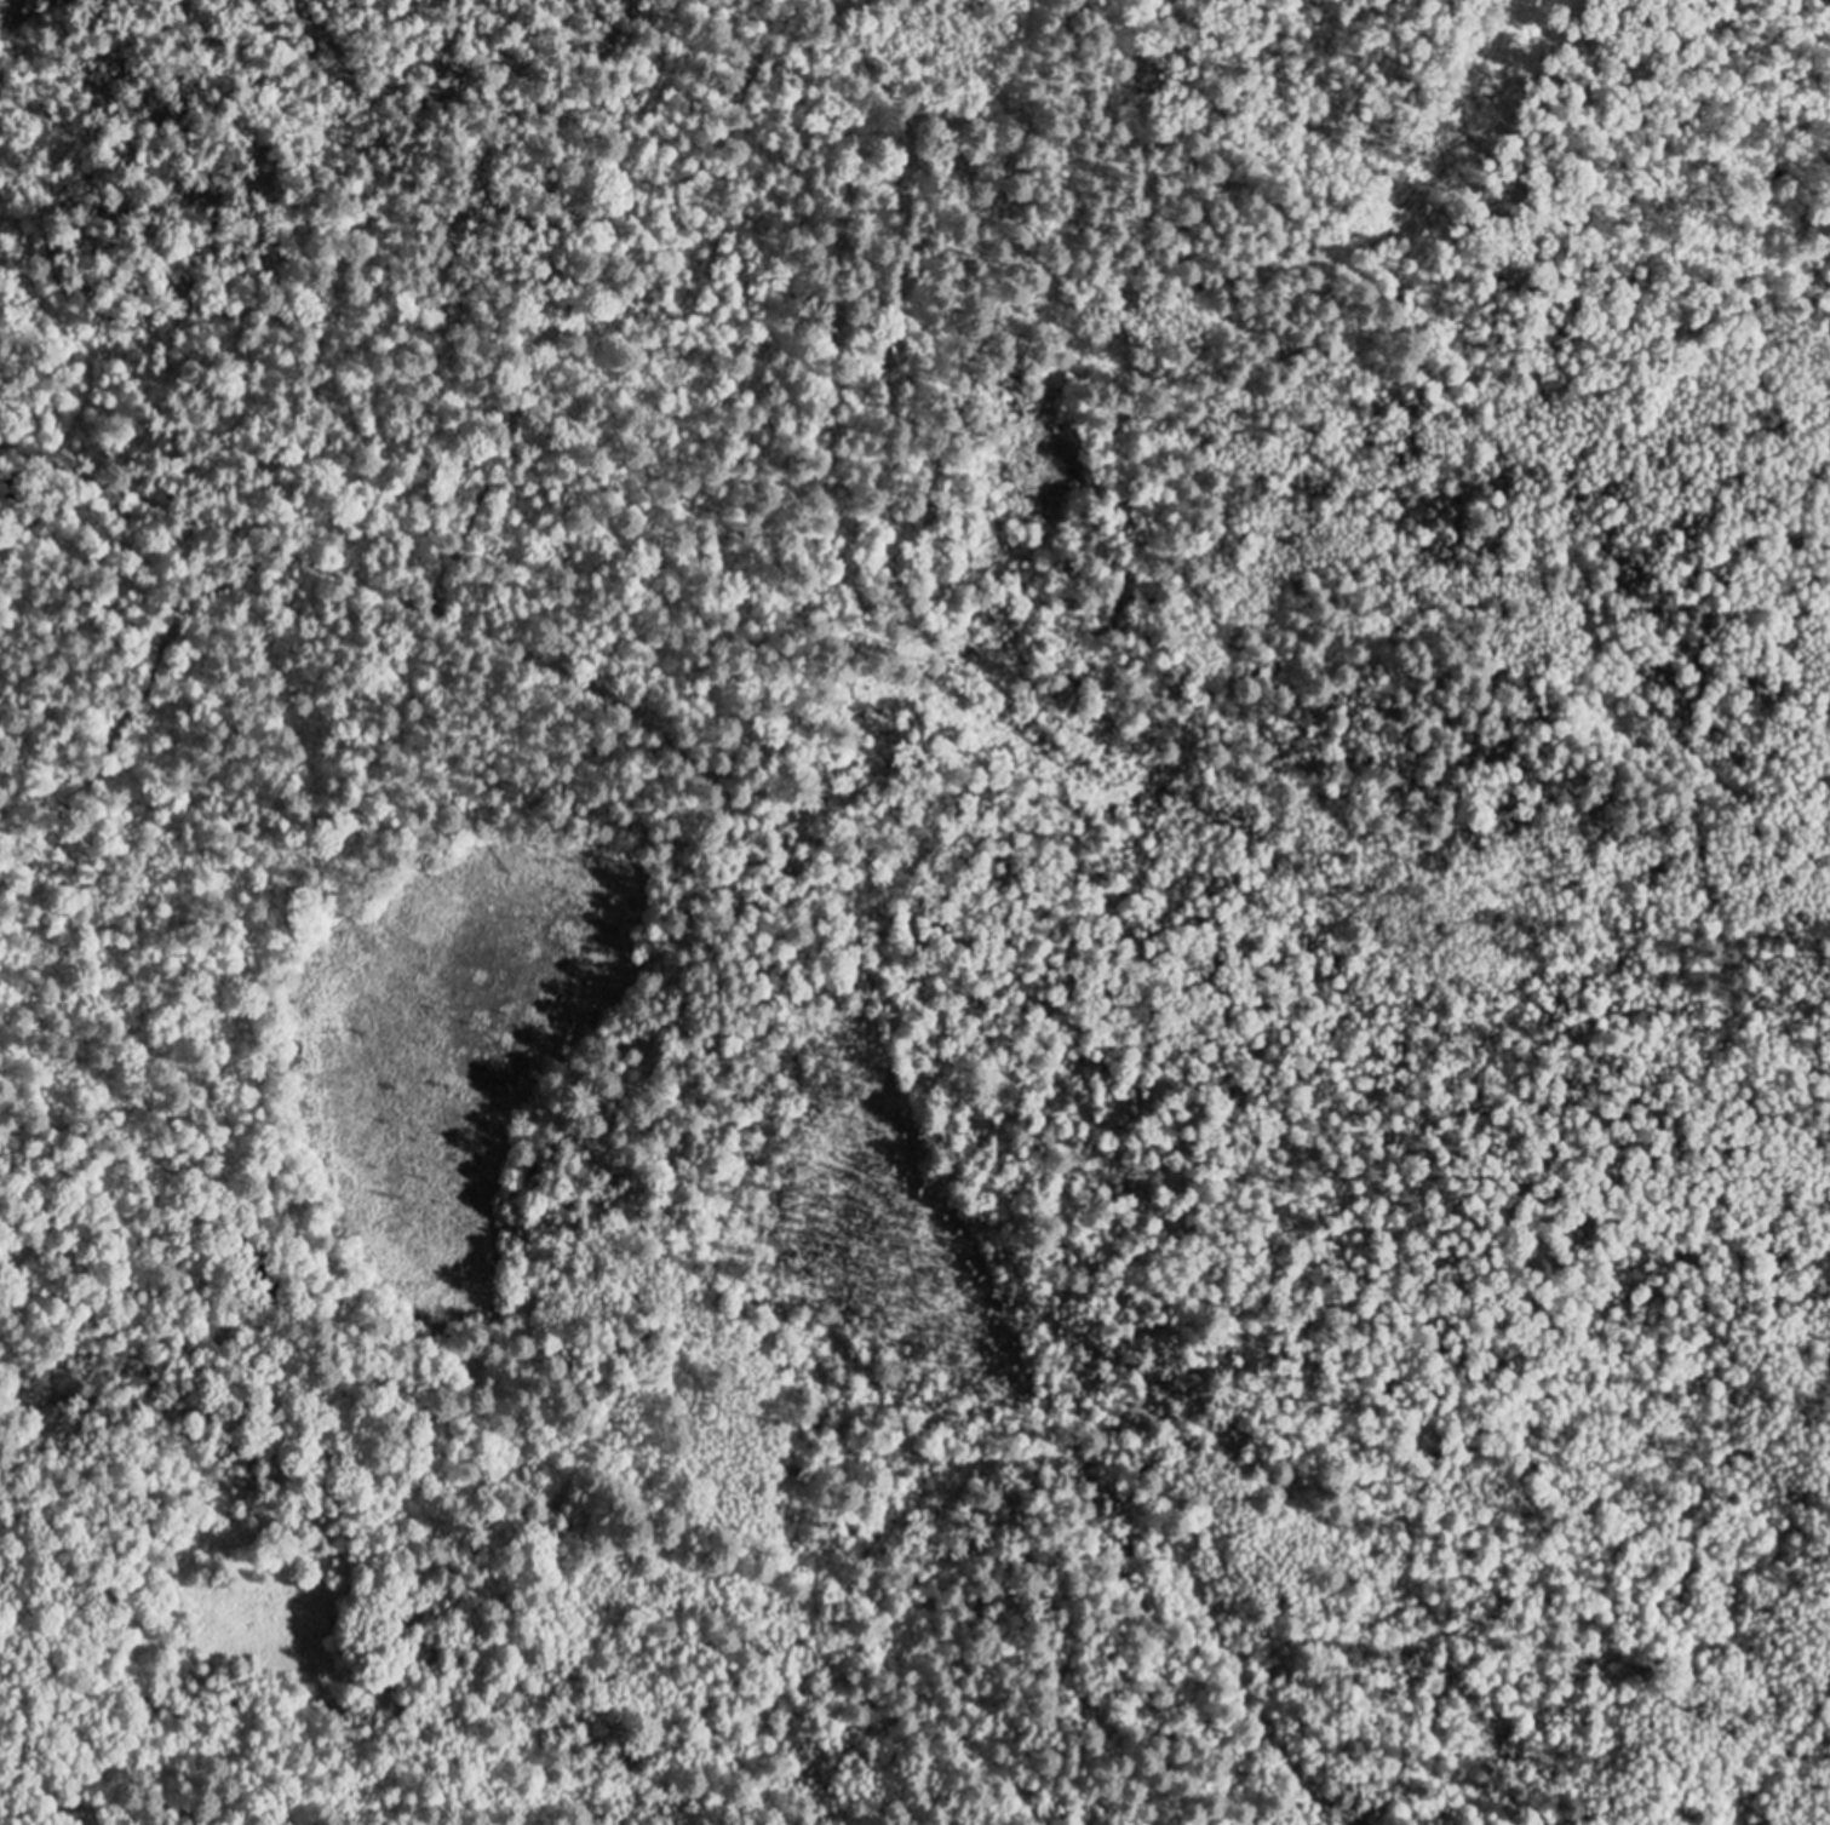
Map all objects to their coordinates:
road: (1779, 1760)

